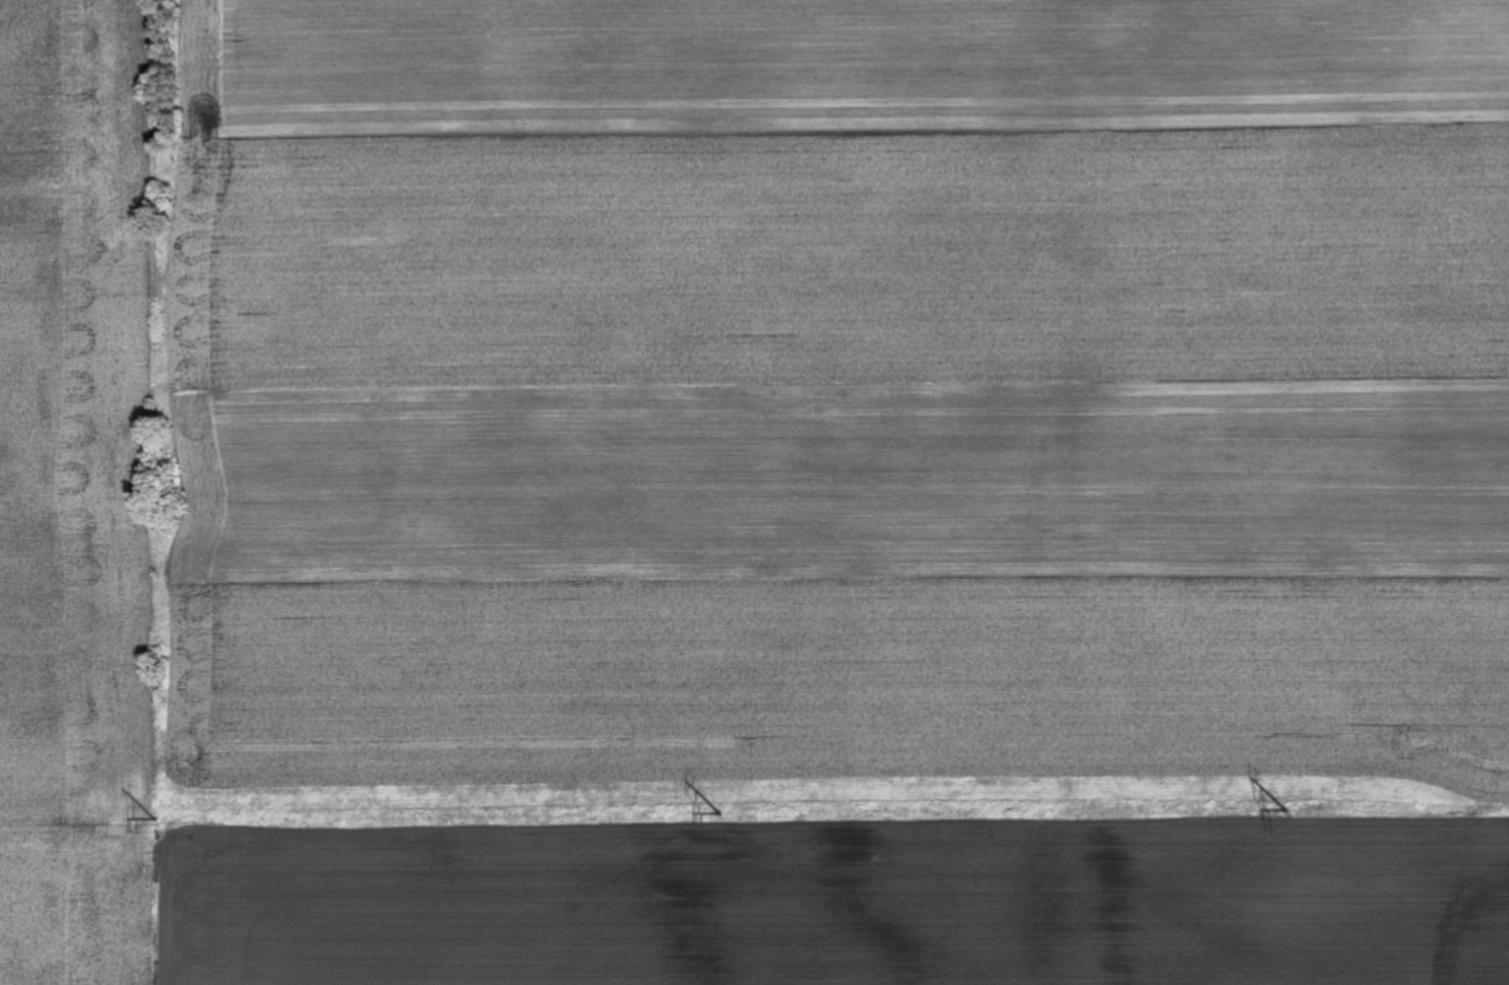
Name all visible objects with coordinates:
power tower: (1287, 803)
power tower: (721, 806)
power tower: (156, 811)

